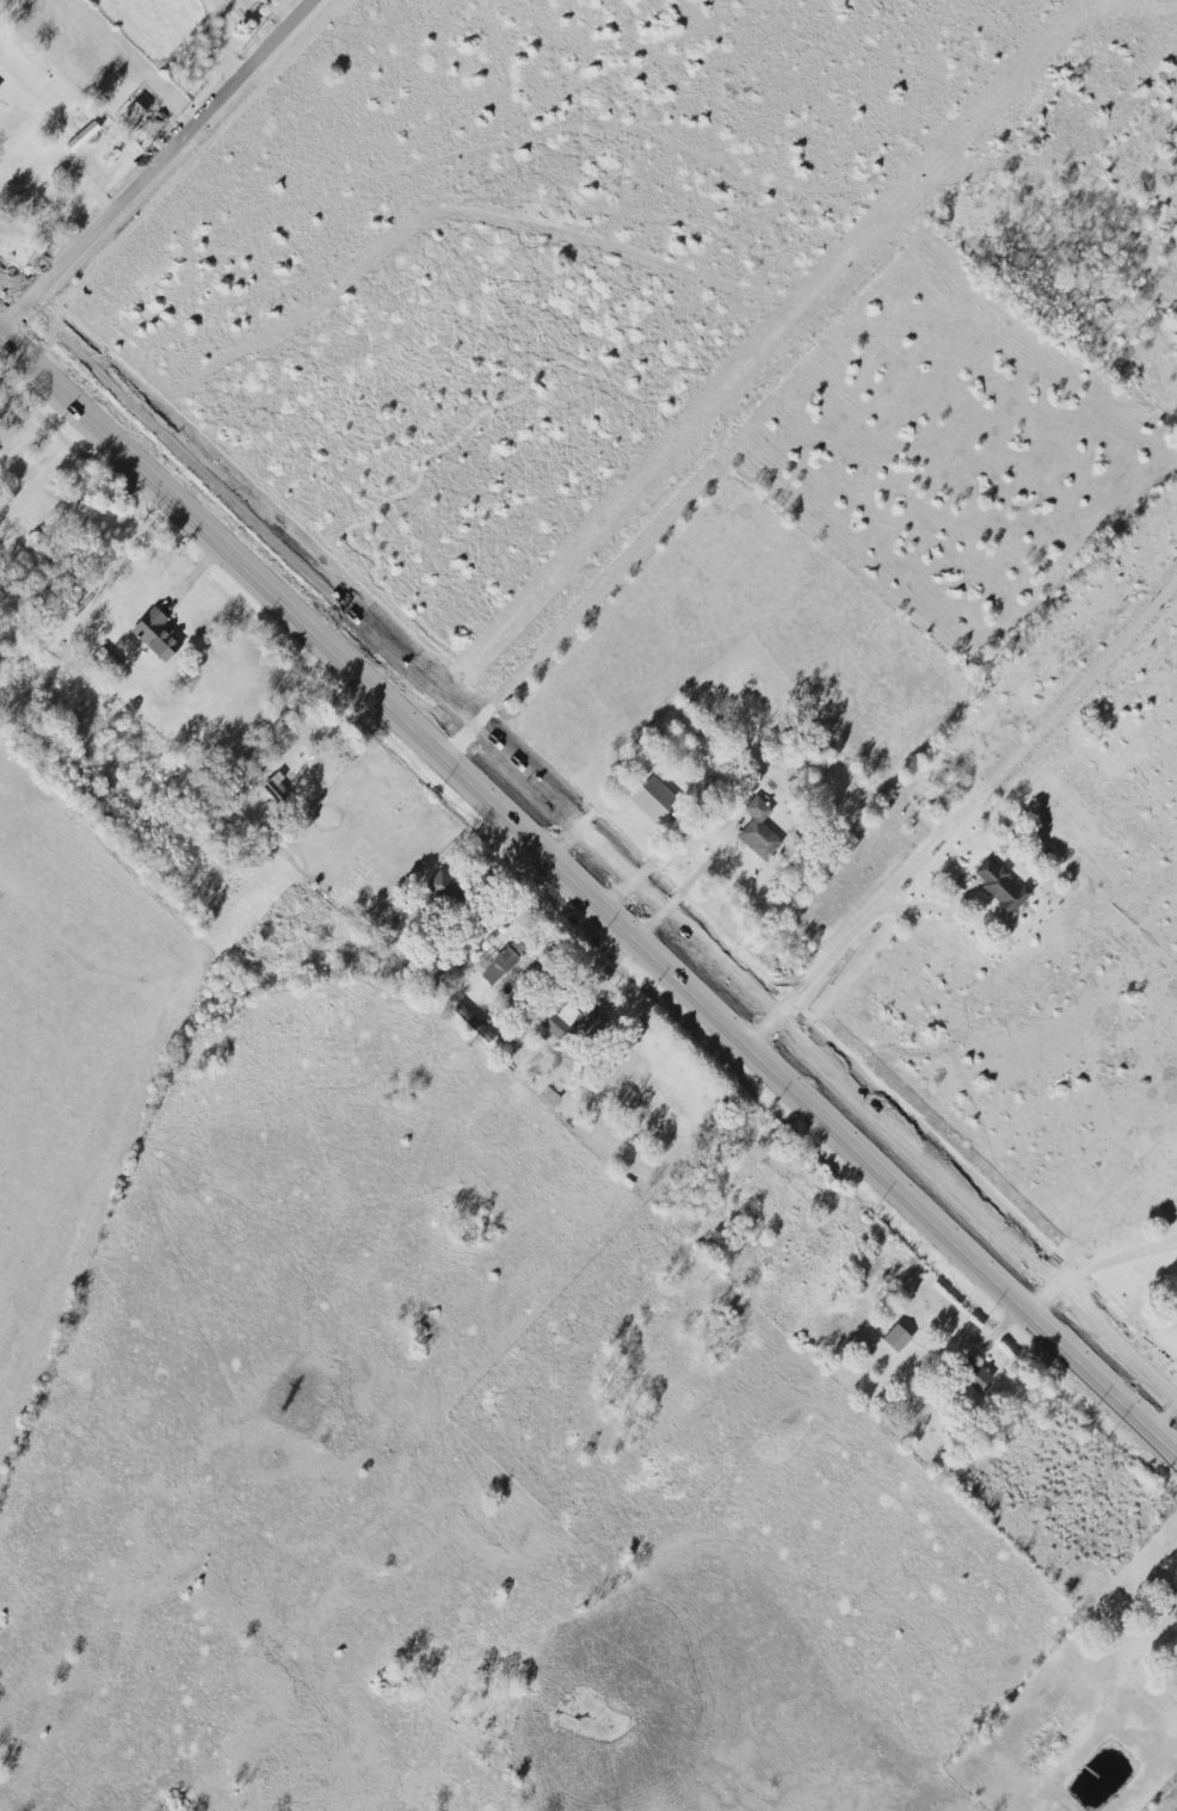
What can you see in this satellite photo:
road: (233, 36)
building: (134, 111)
building: (82, 136)
road: (160, 165)
road: (1, 328)
building: (156, 634)
road: (335, 729)
building: (275, 788)
building: (654, 799)
road: (965, 813)
building: (758, 830)
road: (709, 837)
building: (440, 886)
building: (1002, 886)
road: (586, 888)
building: (505, 960)
building: (566, 1014)
building: (473, 1024)
building: (551, 1024)
road: (1097, 1263)
building: (896, 1338)
building: (978, 1379)
road: (1165, 1412)
building: (1175, 1613)

